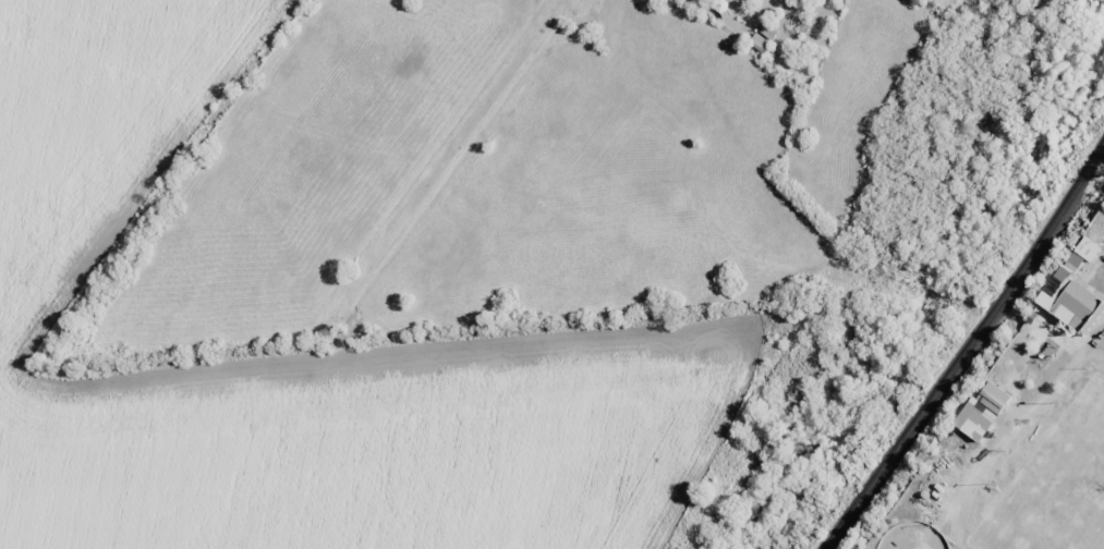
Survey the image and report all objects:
building: (1073, 290)
railway: (968, 347)
crop: (294, 351)

